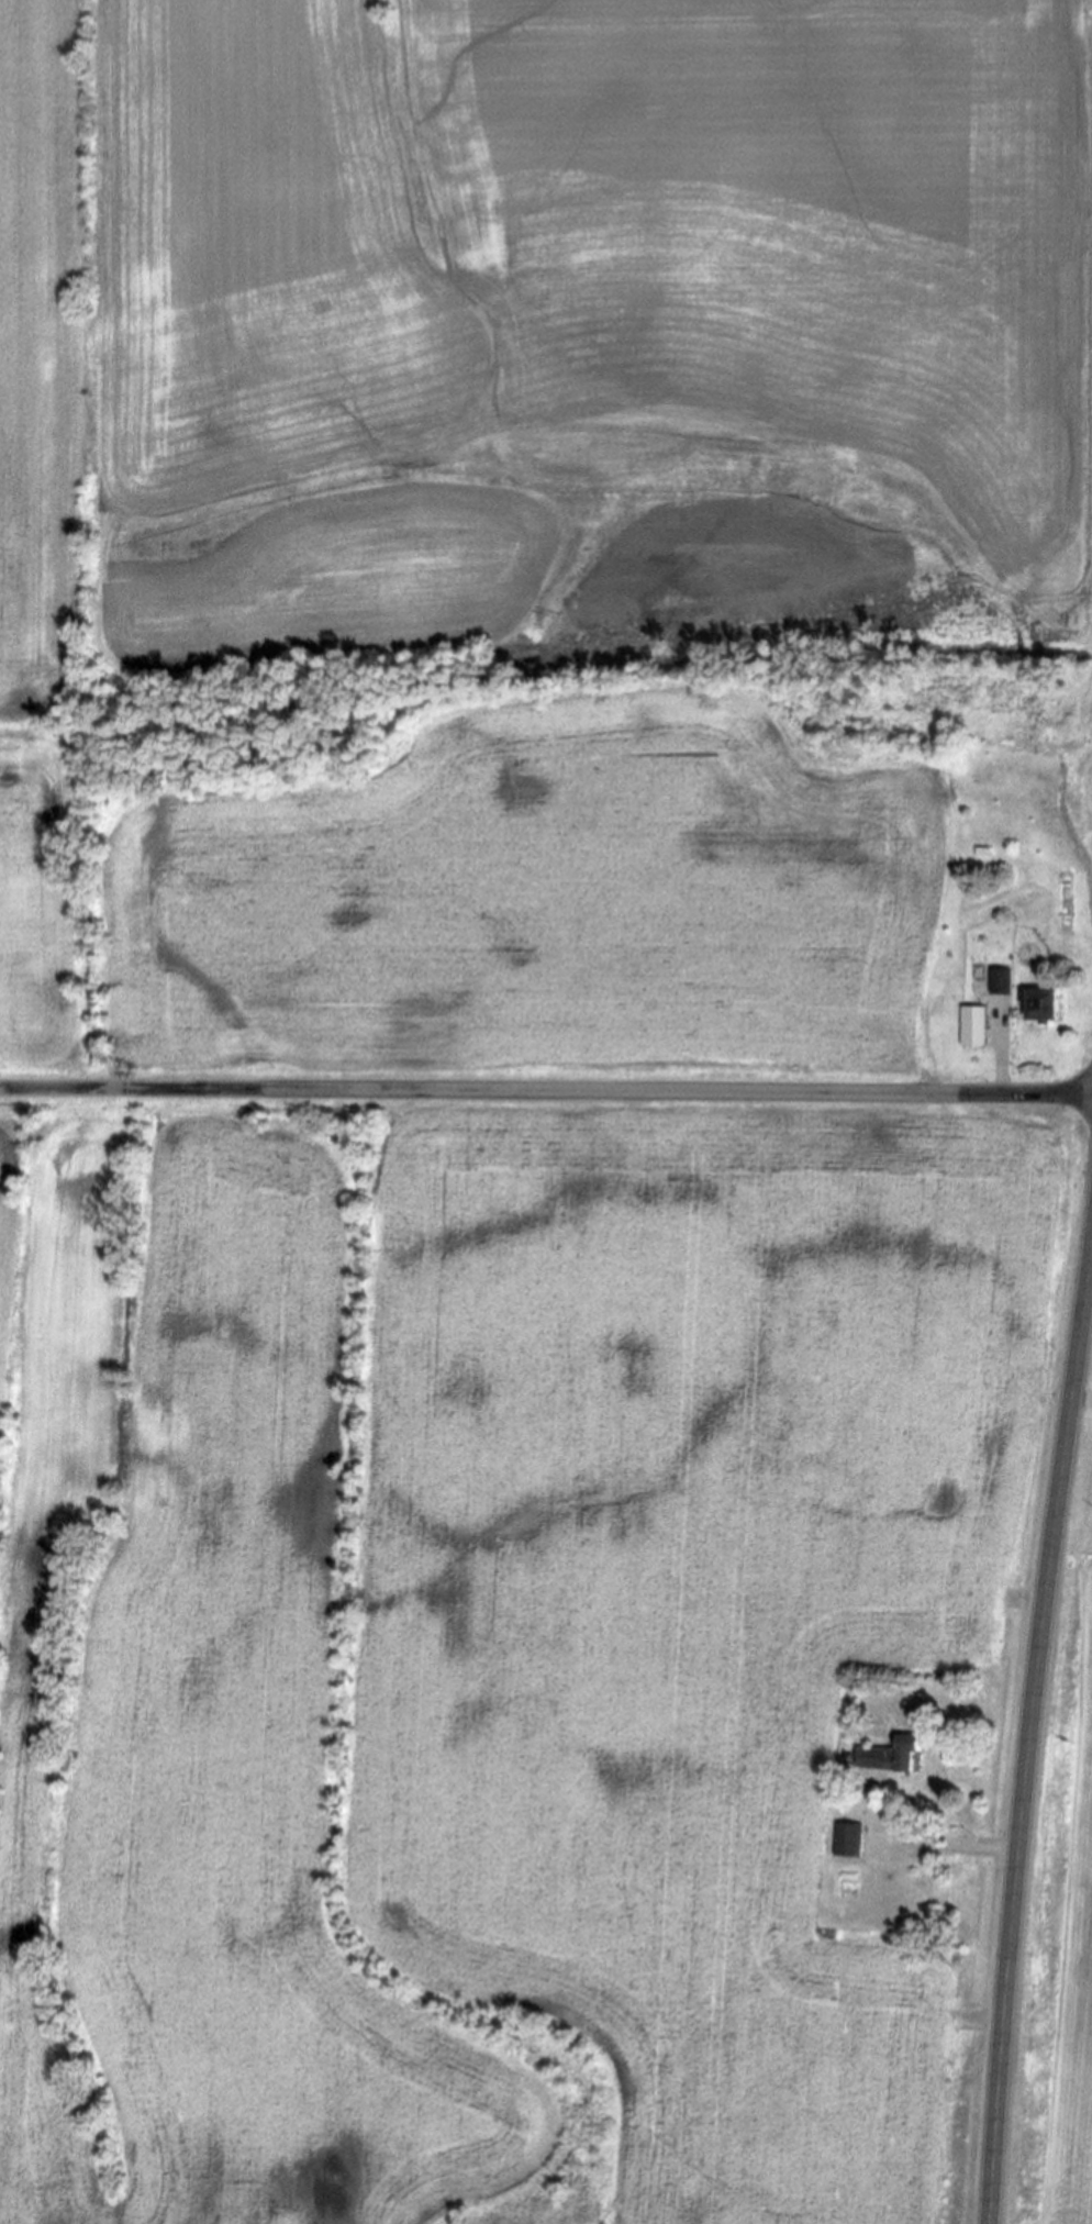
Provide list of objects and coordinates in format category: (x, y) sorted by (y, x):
building: (1000, 983)
building: (1039, 1007)
building: (971, 1028)
road: (1001, 1054)
road: (546, 1092)
road: (1080, 1399)
road: (1029, 1732)
building: (887, 1757)
building: (857, 1842)
road: (938, 1843)

